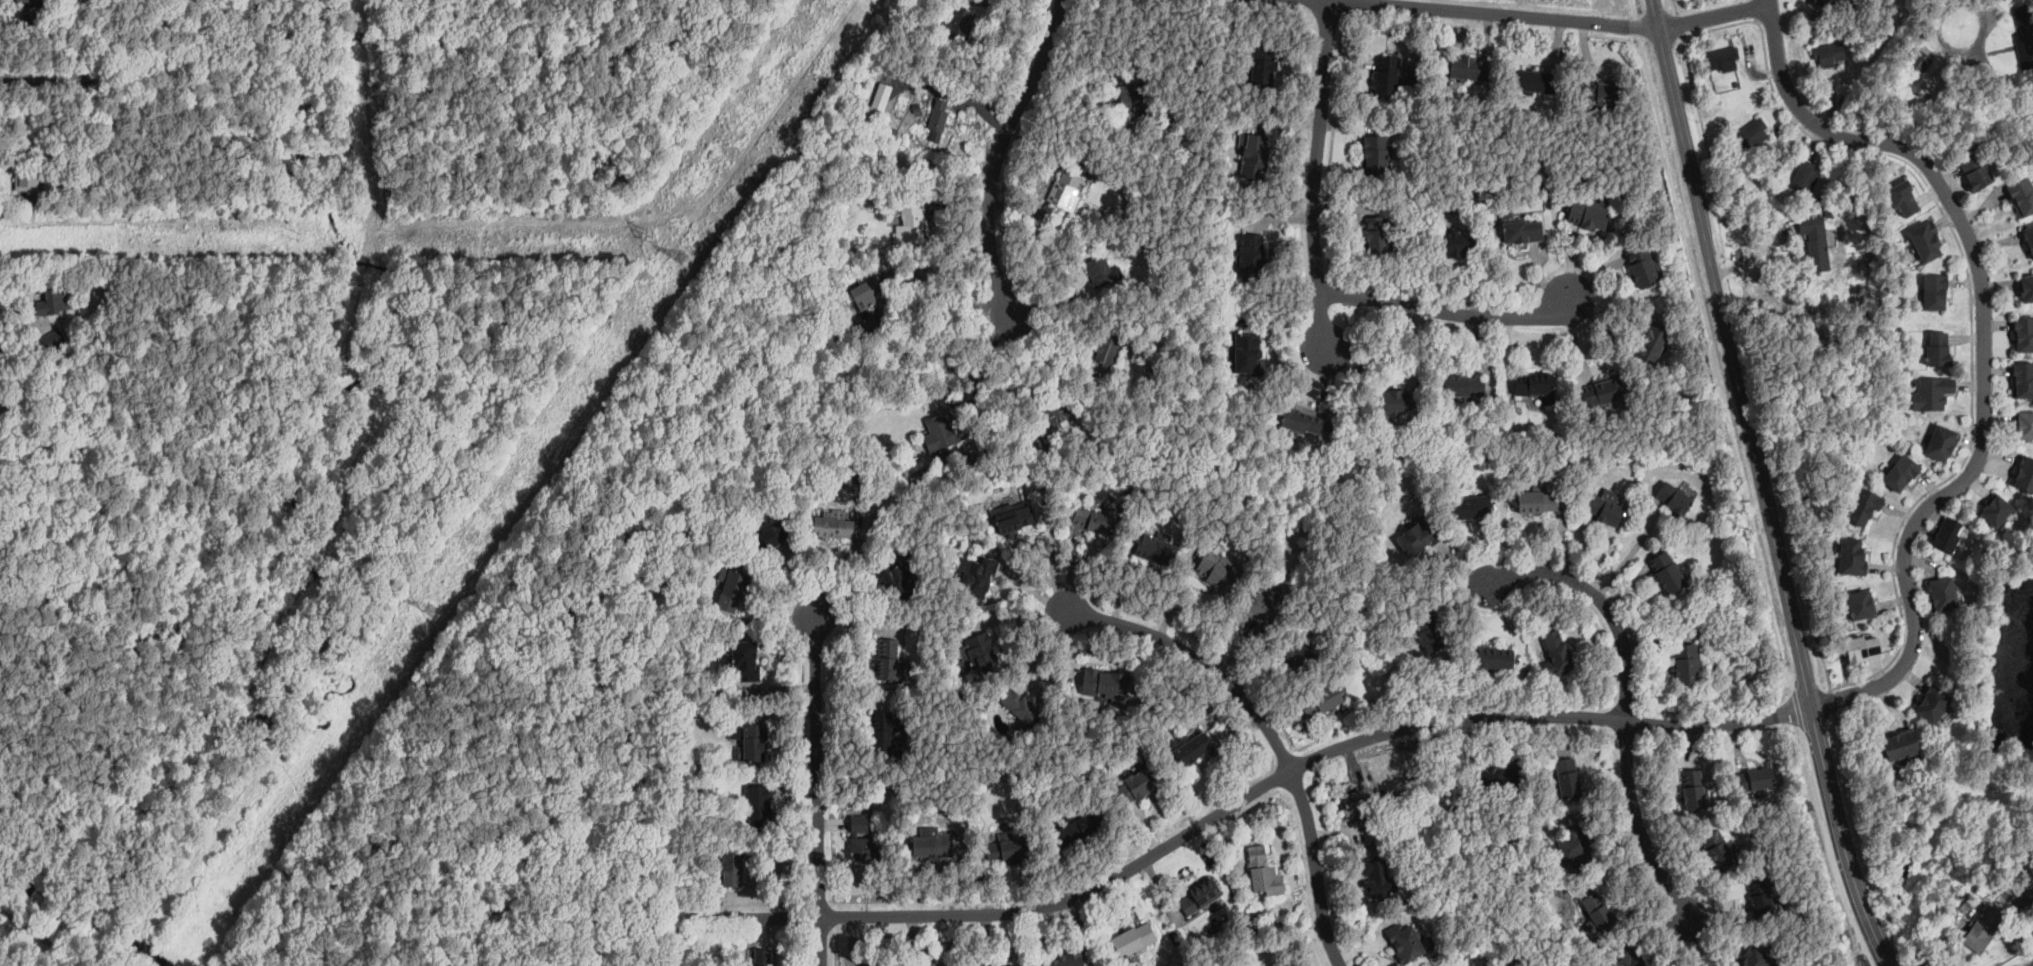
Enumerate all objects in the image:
road: (1768, 1)
building: (1822, 2)
building: (29, 3)
road: (1948, 6)
road: (1509, 13)
road: (1714, 15)
building: (2024, 15)
building: (32, 20)
building: (959, 24)
building: (1860, 44)
building: (2026, 49)
building: (946, 54)
building: (1829, 54)
building: (1723, 59)
building: (1918, 60)
building: (1263, 64)
building: (1468, 68)
building: (1897, 77)
road: (46, 79)
building: (1390, 79)
building: (1535, 82)
road: (2002, 84)
building: (1602, 93)
building: (879, 94)
building: (1136, 97)
building: (917, 109)
building: (938, 120)
building: (891, 131)
building: (1754, 134)
road: (1330, 147)
road: (1000, 152)
building: (1376, 154)
building: (1253, 155)
building: (1103, 168)
building: (1976, 172)
building: (27, 174)
road: (1313, 175)
building: (1806, 178)
building: (1065, 190)
building: (2023, 196)
building: (1819, 198)
building: (1903, 198)
building: (1828, 211)
building: (1588, 216)
building: (909, 223)
building: (1520, 229)
building: (1378, 234)
building: (2029, 238)
building: (1926, 241)
building: (1815, 243)
building: (1457, 244)
building: (1250, 254)
road: (1753, 256)
power tower: (685, 260)
building: (1643, 267)
building: (1099, 270)
building: (2026, 288)
building: (1935, 292)
building: (867, 293)
building: (52, 299)
road: (945, 303)
road: (1449, 310)
building: (868, 325)
building: (2024, 334)
building: (55, 340)
building: (1653, 341)
building: (1107, 348)
building: (1939, 350)
road: (1984, 351)
building: (1247, 355)
road: (1033, 362)
building: (960, 366)
road: (984, 368)
building: (1153, 370)
building: (2023, 381)
building: (1533, 384)
building: (1462, 388)
building: (1, 390)
building: (1602, 392)
building: (1933, 393)
building: (1396, 404)
building: (1055, 413)
building: (1299, 422)
building: (2024, 425)
building: (939, 430)
building: (1942, 443)
building: (1036, 444)
building: (969, 457)
building: (1708, 462)
building: (1902, 473)
building: (2025, 475)
road: (1744, 485)
road: (1757, 486)
building: (1610, 494)
building: (1675, 498)
building: (1537, 501)
building: (1470, 507)
building: (1865, 507)
building: (1605, 510)
building: (1996, 510)
building: (1014, 520)
building: (1094, 521)
building: (832, 526)
building: (769, 536)
building: (1419, 536)
building: (1946, 536)
building: (1158, 550)
road: (1629, 553)
building: (1853, 557)
road: (1053, 563)
building: (1217, 570)
building: (1668, 572)
building: (979, 576)
building: (896, 583)
building: (731, 588)
building: (1943, 595)
building: (1862, 605)
power tower: (429, 607)
road: (1603, 608)
building: (1257, 609)
road: (942, 613)
building: (1429, 633)
building: (1862, 649)
building: (982, 653)
building: (1556, 654)
building: (1294, 657)
building: (1492, 658)
building: (744, 661)
road: (1200, 661)
building: (890, 663)
building: (1687, 664)
building: (1102, 682)
building: (1321, 701)
building: (1933, 705)
building: (1021, 709)
building: (887, 734)
building: (750, 741)
building: (1901, 745)
building: (1194, 748)
road: (820, 767)
building: (1567, 778)
building: (1498, 779)
building: (1754, 780)
building: (1139, 784)
building: (1693, 790)
road: (1236, 802)
building: (756, 805)
building: (1360, 808)
building: (1083, 825)
road: (1637, 826)
building: (862, 841)
building: (933, 844)
building: (1573, 848)
road: (209, 849)
building: (1717, 851)
building: (1006, 852)
building: (733, 866)
road: (1317, 866)
building: (1264, 872)
building: (1378, 877)
building: (1201, 895)
building: (1761, 899)
building: (2023, 899)
building: (1598, 914)
building: (1983, 929)
road: (43, 938)
building: (1133, 940)
road: (821, 941)
building: (1405, 943)
road: (2016, 954)
building: (761, 957)
building: (1625, 958)
building: (1756, 958)
building: (1068, 959)
building: (1269, 965)

